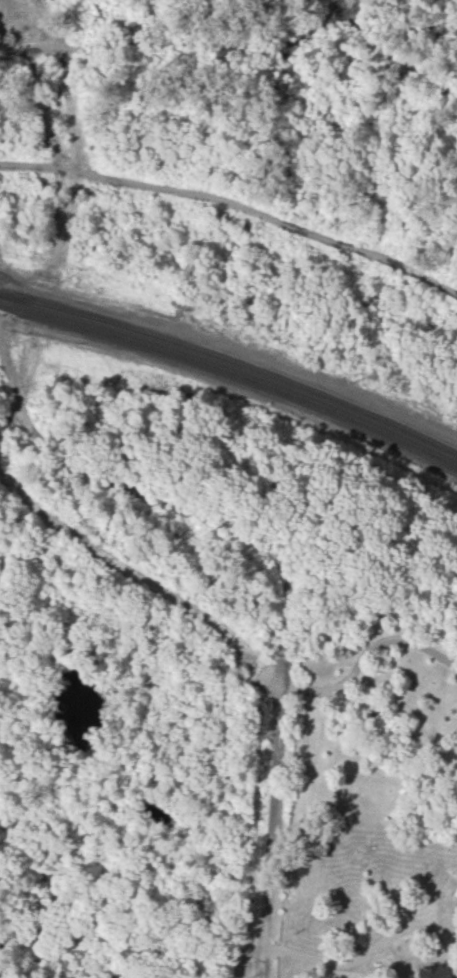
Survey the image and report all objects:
road: (233, 210)
railway: (232, 354)
railway: (232, 364)
road: (286, 575)
road: (368, 654)
road: (325, 960)
building: (436, 971)

